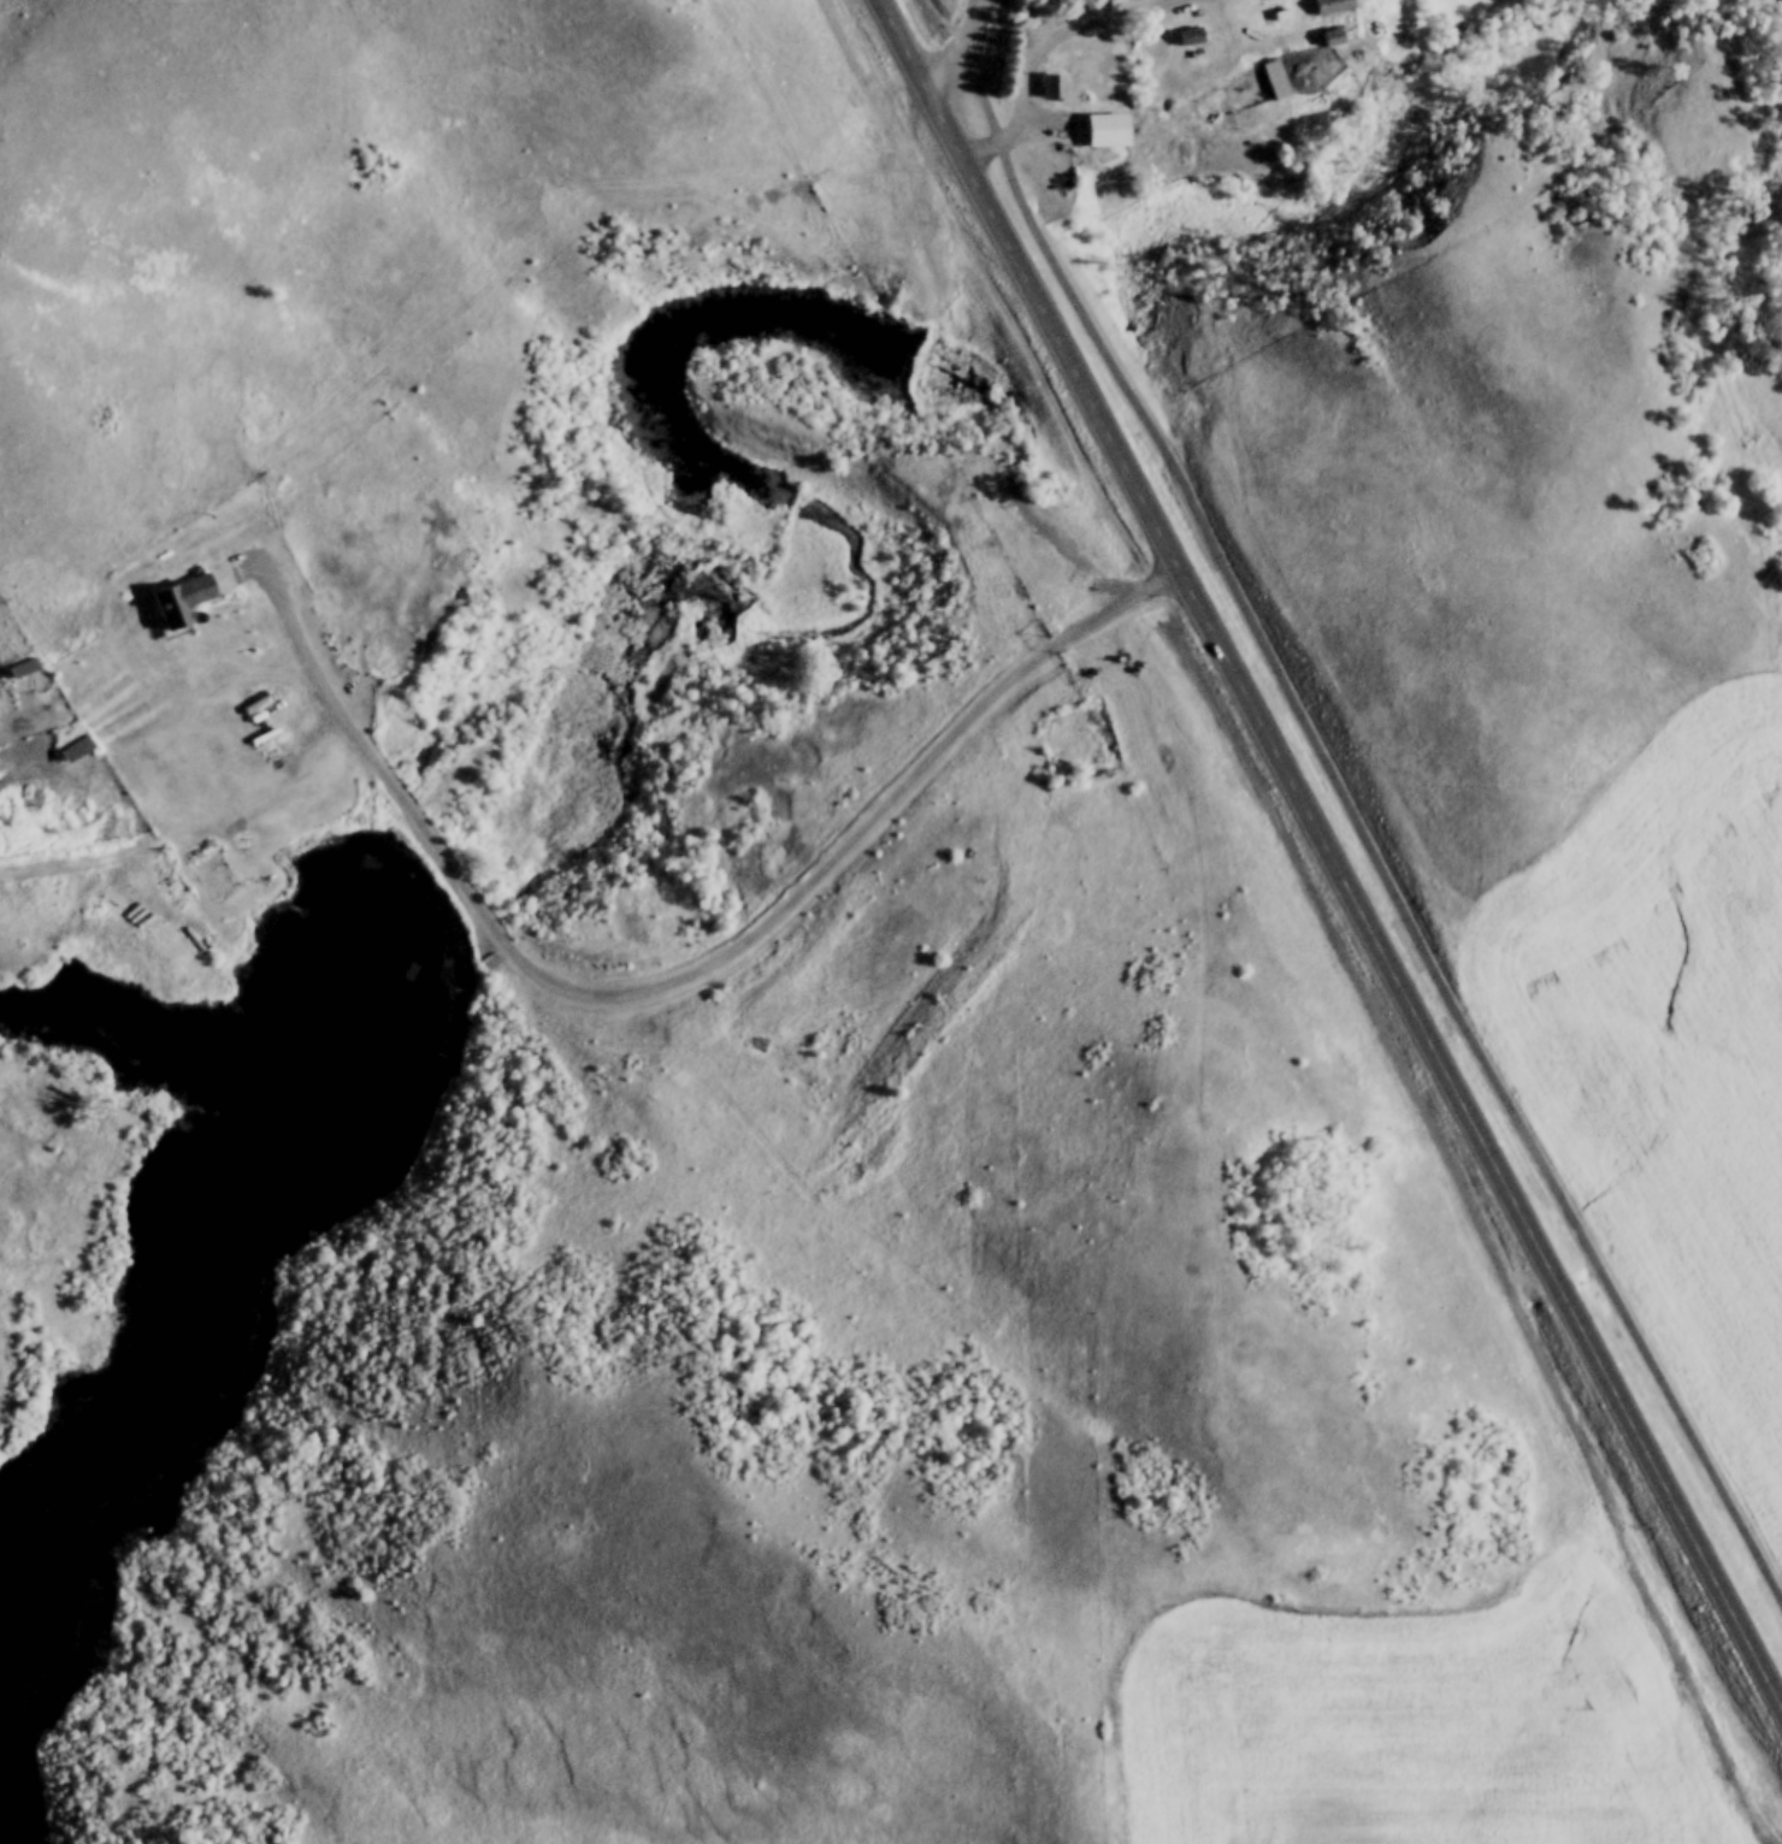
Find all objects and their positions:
building: (1328, 6)
building: (1186, 37)
building: (1328, 39)
road: (962, 52)
road: (1032, 58)
building: (1087, 69)
building: (1271, 81)
building: (1049, 87)
building: (1101, 131)
building: (176, 601)
building: (18, 669)
building: (70, 750)
road: (1346, 802)
road: (196, 835)
road: (1328, 861)
road: (657, 952)
road: (967, 1331)

